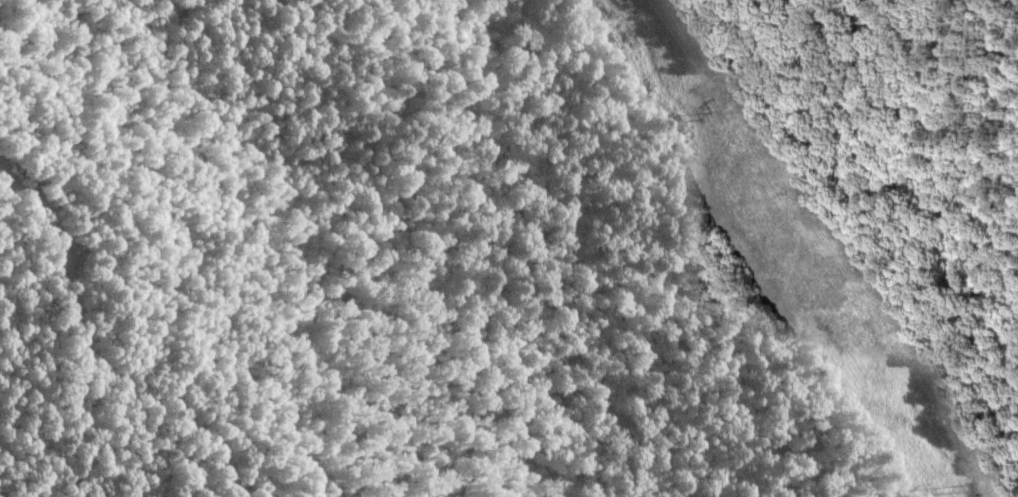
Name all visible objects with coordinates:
power tower: (709, 116)
power tower: (959, 487)

